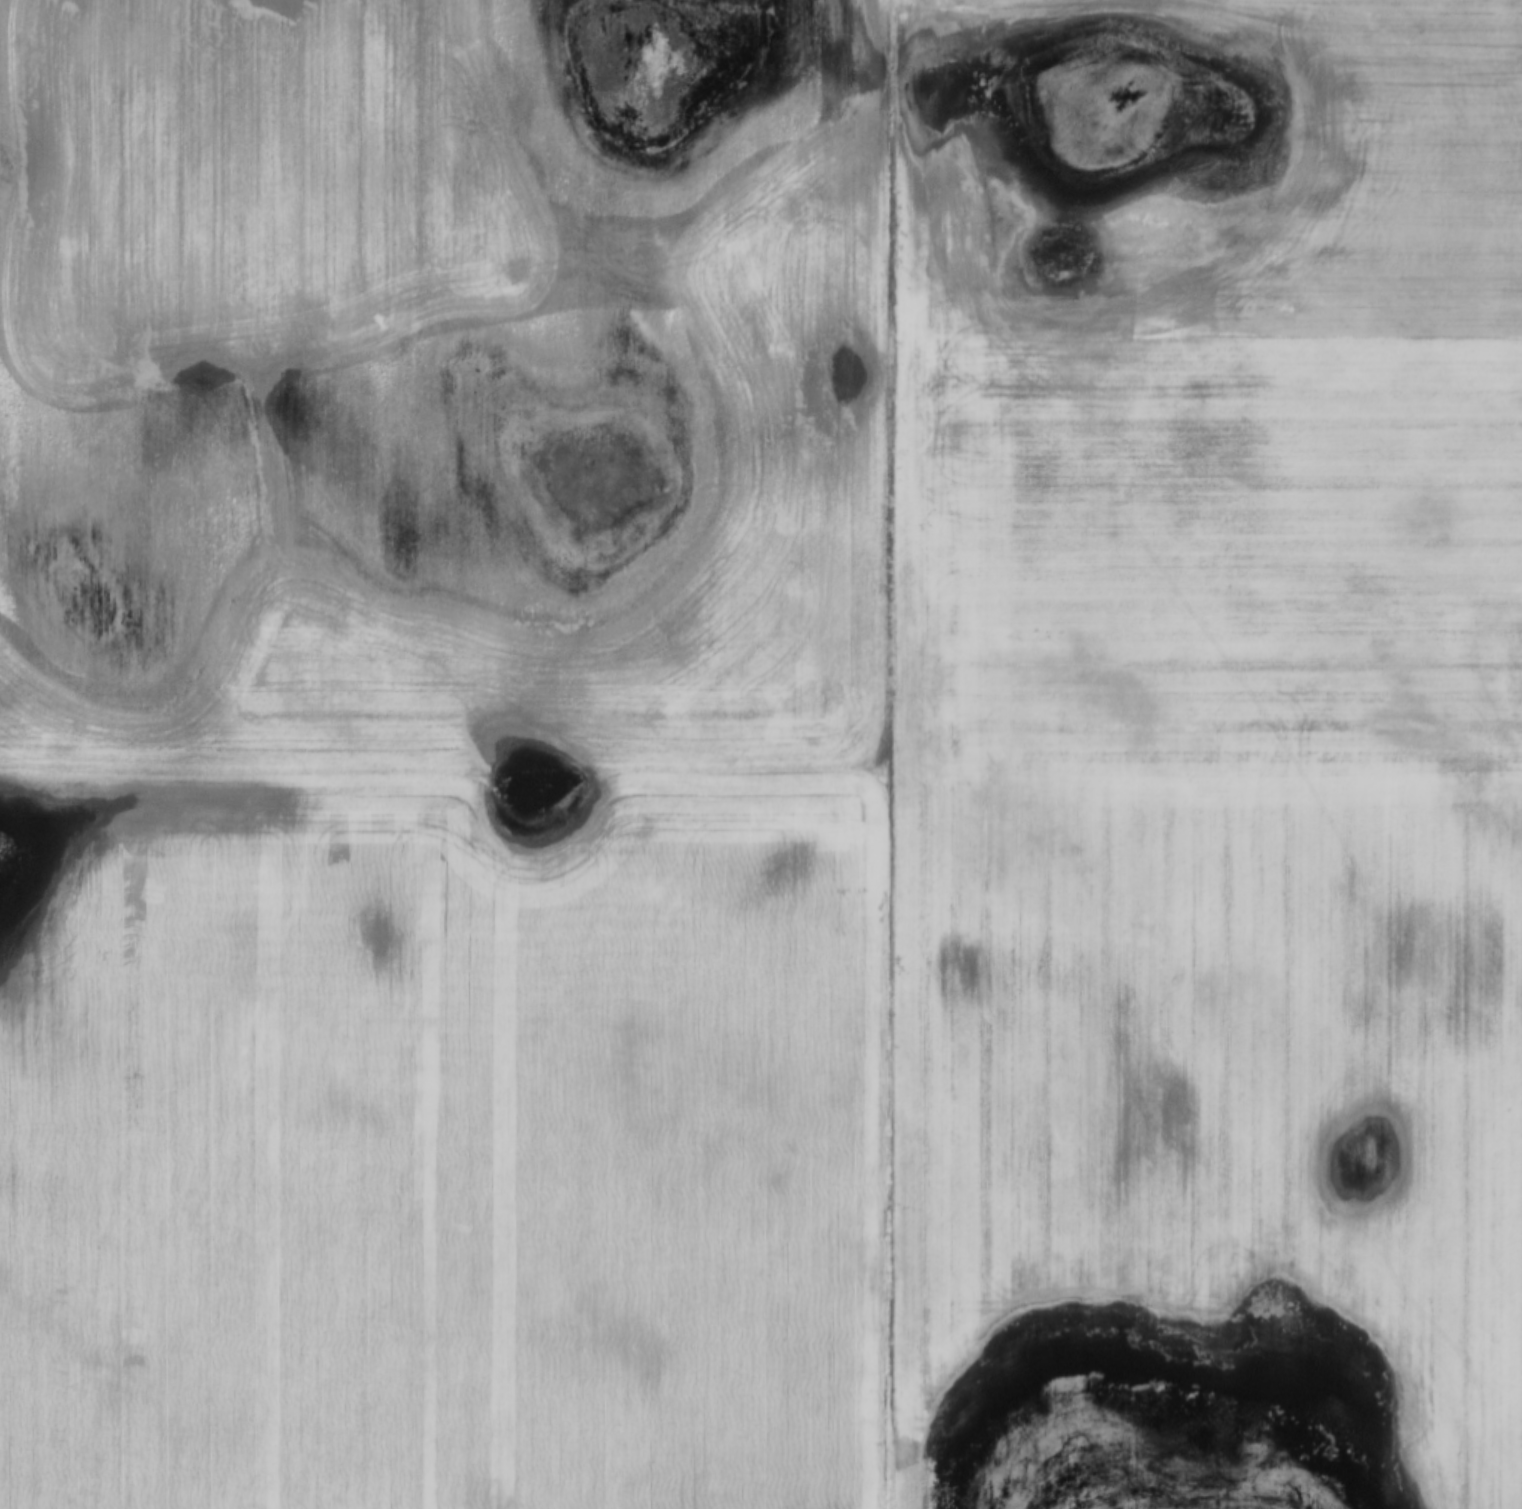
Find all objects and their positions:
crop: (1212, 885)

